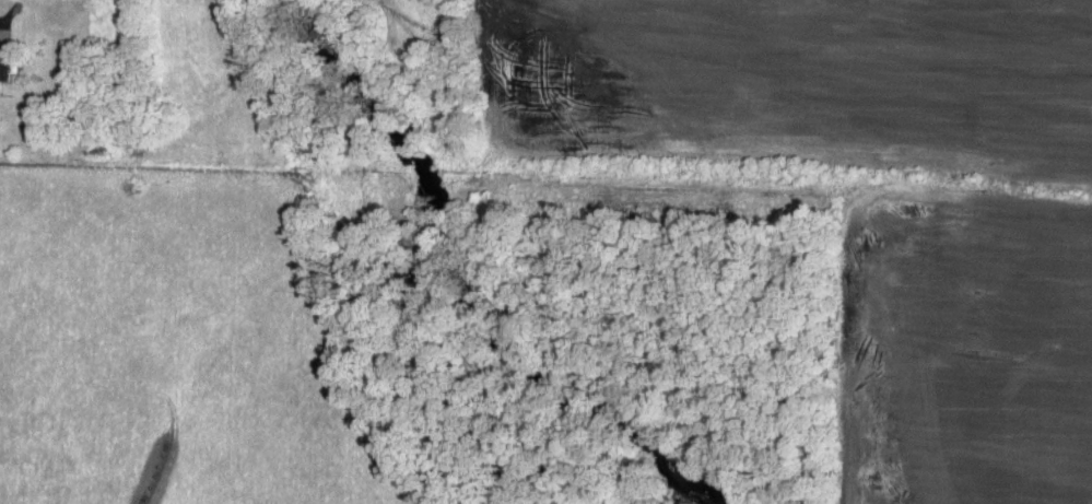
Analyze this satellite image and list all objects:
building: (5, 62)

